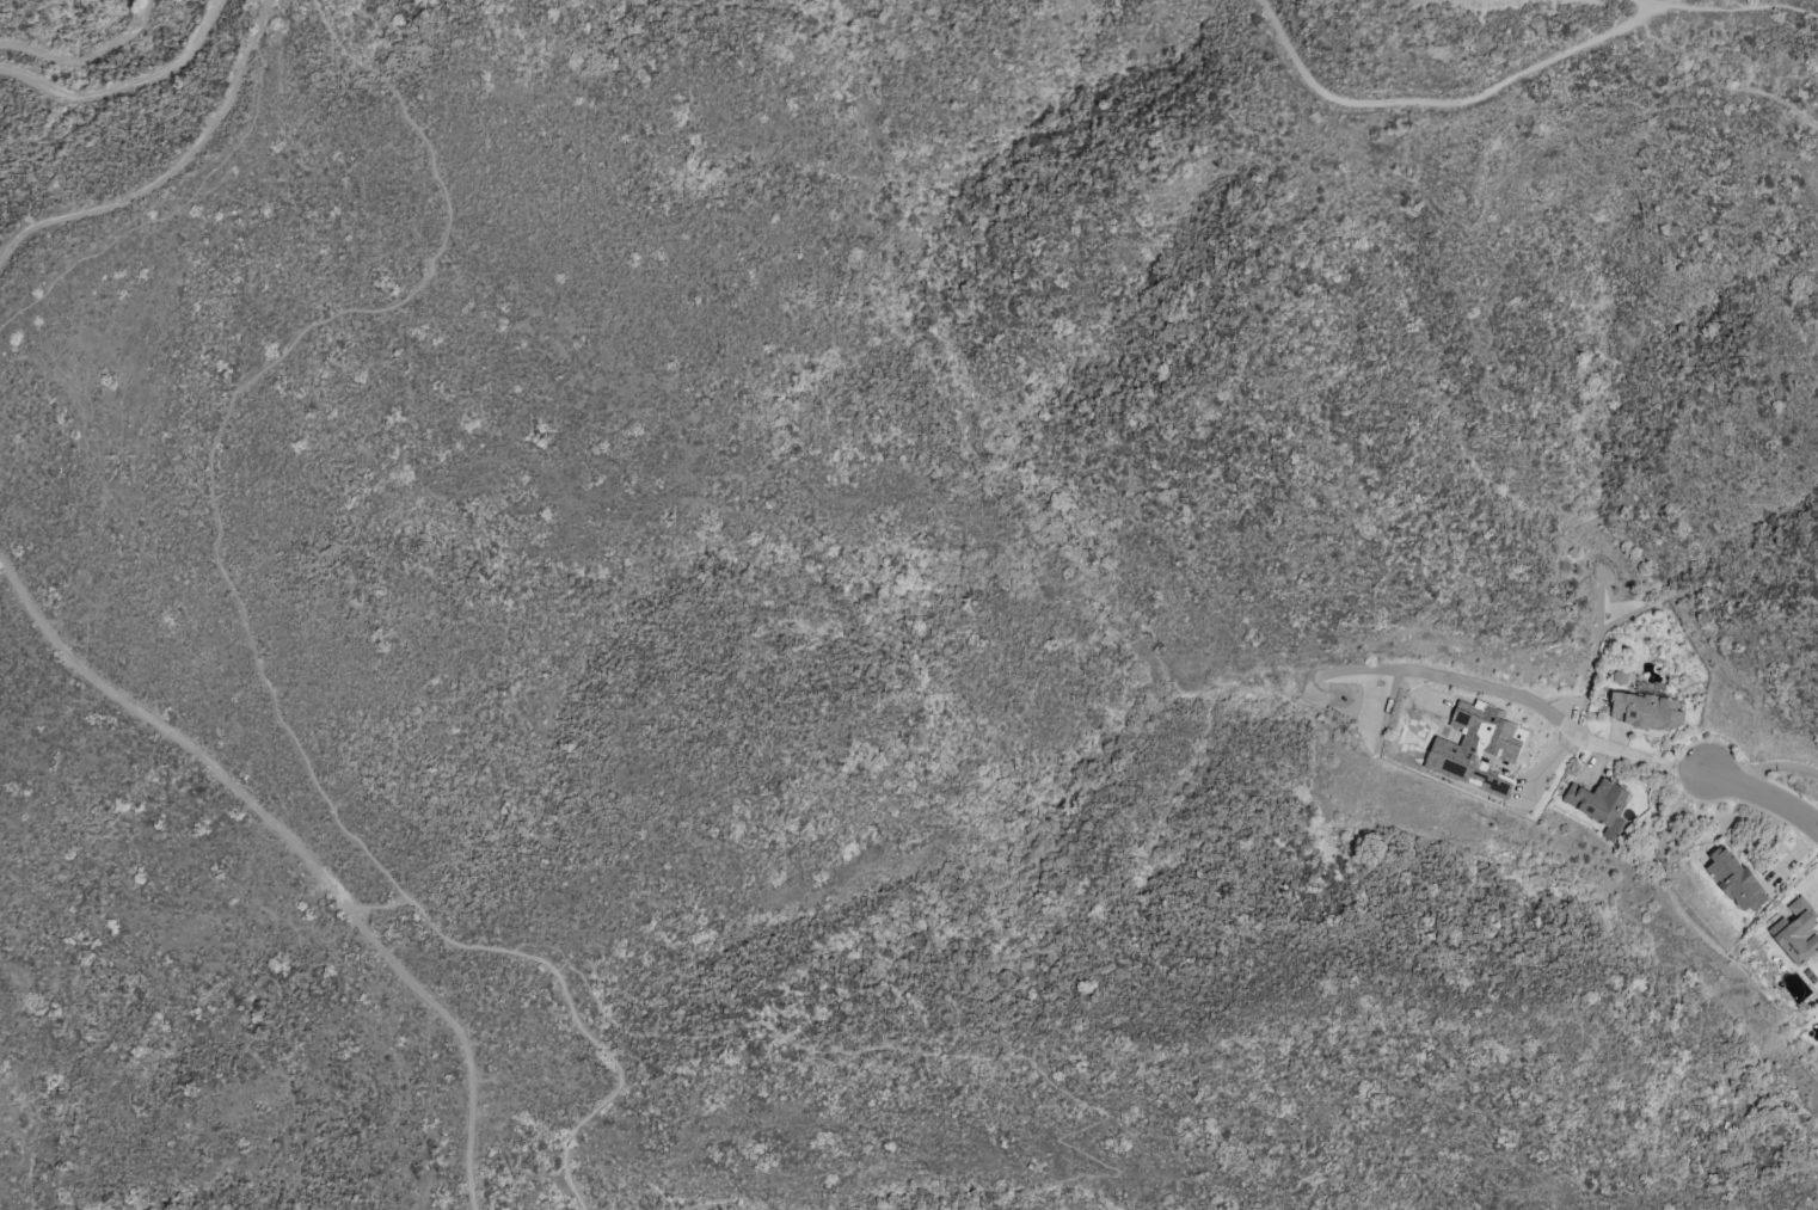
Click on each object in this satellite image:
road: (1647, 4)
road: (1663, 4)
road: (1744, 6)
road: (86, 62)
road: (122, 86)
road: (1438, 104)
road: (171, 170)
road: (238, 610)
road: (1525, 696)
building: (1645, 711)
road: (1765, 792)
building: (1599, 804)
road: (300, 850)
building: (1734, 880)
road: (379, 904)
building: (1795, 932)
road: (898, 1052)

